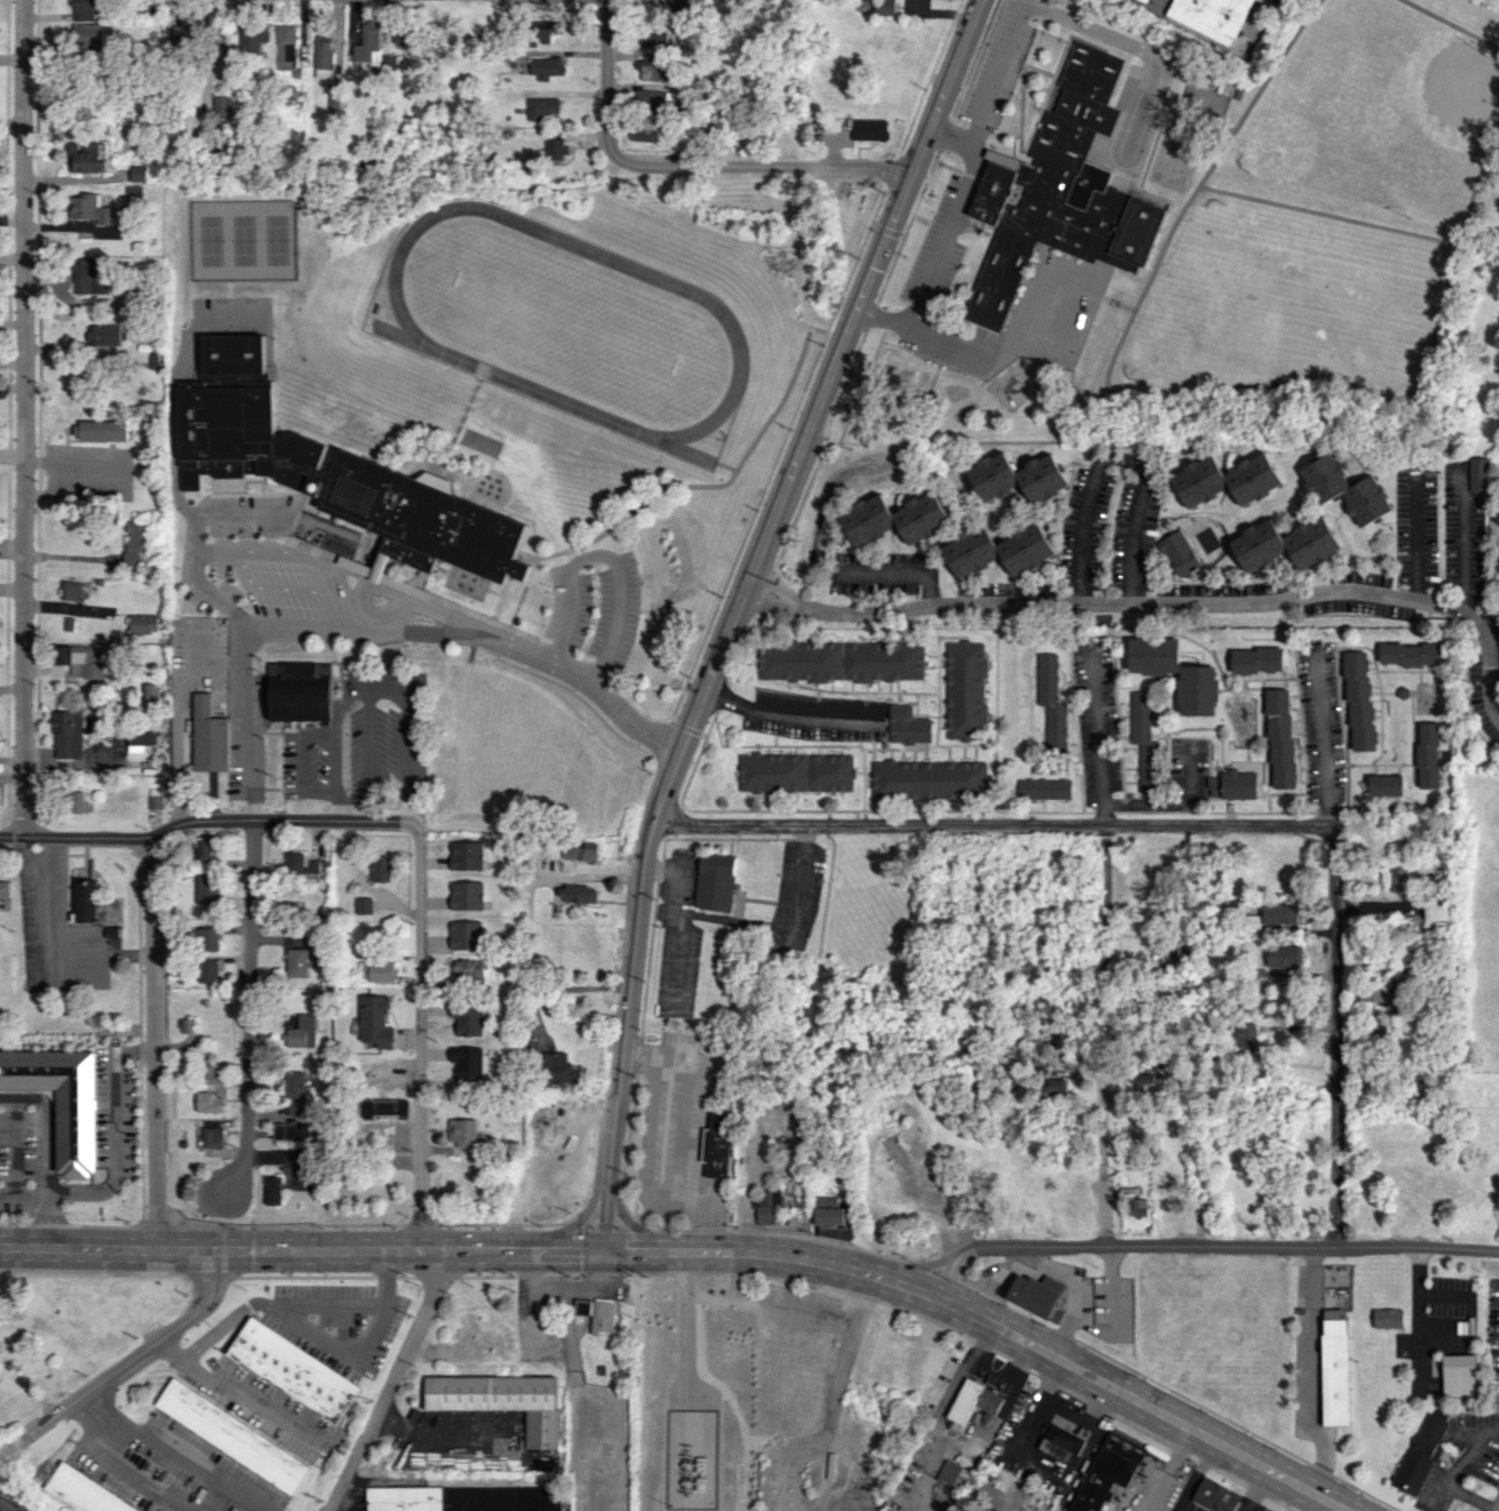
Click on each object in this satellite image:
building: (677, 5)
building: (884, 7)
building: (87, 9)
road: (1021, 15)
building: (1227, 18)
road: (1453, 22)
building: (547, 30)
building: (87, 33)
building: (182, 35)
building: (397, 37)
building: (652, 37)
building: (253, 38)
building: (368, 41)
building: (219, 43)
building: (286, 46)
building: (324, 54)
building: (390, 62)
building: (546, 67)
building: (653, 69)
road: (606, 78)
building: (654, 98)
building: (224, 107)
building: (542, 108)
park: (1377, 113)
building: (868, 129)
building: (644, 135)
road: (946, 137)
building: (557, 149)
building: (89, 156)
building: (997, 161)
road: (761, 166)
building: (138, 173)
building: (135, 190)
road: (1218, 191)
building: (1060, 194)
building: (91, 208)
road: (1461, 233)
road: (932, 257)
road: (1155, 263)
building: (89, 276)
park: (1478, 299)
track: (569, 322)
building: (103, 335)
building: (154, 359)
road: (172, 388)
road: (1236, 399)
road: (22, 418)
building: (99, 430)
road: (1117, 459)
building: (1480, 473)
building: (1017, 477)
building: (1226, 480)
building: (438, 481)
building: (1347, 489)
building: (355, 497)
road: (221, 514)
building: (895, 519)
building: (1498, 520)
road: (1418, 536)
road: (1466, 541)
building: (1284, 544)
building: (135, 546)
building: (998, 550)
building: (1177, 552)
road: (603, 554)
road: (289, 557)
building: (354, 565)
building: (1498, 568)
road: (899, 575)
road: (750, 585)
building: (71, 590)
road: (782, 591)
road: (778, 602)
road: (1195, 603)
road: (732, 610)
building: (142, 623)
road: (388, 635)
building: (1412, 653)
building: (1255, 660)
building: (841, 661)
building: (81, 664)
building: (1174, 672)
building: (965, 689)
building: (299, 691)
road: (389, 691)
building: (1358, 701)
building: (1051, 703)
road: (782, 714)
building: (908, 725)
building: (67, 734)
building: (208, 736)
building: (1279, 738)
road: (1324, 740)
building: (139, 741)
building: (1142, 741)
road: (335, 742)
road: (1097, 742)
building: (1427, 755)
road: (176, 762)
building: (796, 772)
building: (929, 779)
building: (1231, 785)
building: (1384, 785)
building: (1044, 788)
building: (154, 798)
building: (76, 802)
road: (213, 820)
road: (992, 824)
building: (204, 849)
building: (581, 851)
road: (26, 855)
building: (468, 855)
building: (297, 864)
building: (380, 868)
road: (1105, 870)
building: (1398, 878)
building: (720, 880)
building: (207, 888)
building: (4, 889)
building: (580, 894)
building: (468, 895)
building: (103, 903)
building: (363, 905)
building: (1435, 910)
building: (1279, 913)
road: (679, 922)
building: (1252, 922)
building: (1440, 925)
road: (782, 926)
building: (467, 935)
building: (206, 939)
road: (47, 947)
building: (1284, 956)
building: (293, 962)
building: (468, 968)
building: (207, 970)
building: (377, 971)
building: (1379, 990)
road: (248, 1009)
building: (375, 1021)
building: (300, 1031)
building: (1245, 1035)
road: (1335, 1036)
road: (153, 1043)
road: (418, 1044)
road: (543, 1047)
road: (1105, 1049)
building: (468, 1062)
building: (560, 1068)
building: (212, 1073)
building: (1144, 1083)
building: (1057, 1088)
building: (294, 1092)
building: (60, 1100)
building: (208, 1102)
building: (384, 1107)
road: (45, 1123)
building: (287, 1131)
building: (463, 1132)
building: (665, 1135)
building: (211, 1137)
road: (682, 1139)
building: (718, 1145)
road: (114, 1152)
building: (272, 1190)
building: (770, 1206)
building: (1138, 1207)
building: (829, 1211)
road: (1106, 1214)
road: (46, 1220)
road: (1203, 1246)
traffic signals: (601, 1251)
road: (703, 1251)
road: (921, 1267)
road: (1443, 1294)
building: (1037, 1296)
road: (284, 1306)
building: (582, 1307)
building: (1333, 1313)
building: (602, 1315)
road: (1416, 1317)
building: (1388, 1318)
road: (1437, 1325)
road: (980, 1339)
road: (141, 1351)
road: (991, 1362)
building: (293, 1370)
road: (1313, 1371)
building: (1334, 1371)
building: (1460, 1375)
road: (389, 1380)
building: (501, 1400)
building: (989, 1400)
road: (249, 1401)
road: (94, 1416)
building: (232, 1435)
building: (1060, 1442)
road: (970, 1450)
building: (1420, 1454)
road: (1459, 1460)
road: (184, 1463)
road: (1166, 1469)
building: (1108, 1471)
building: (952, 1473)
road: (133, 1475)
building: (1000, 1481)
building: (84, 1491)
building: (1216, 1496)
road: (1468, 1497)
building: (463, 1498)
road: (1495, 1504)
railway: (7, 1505)

